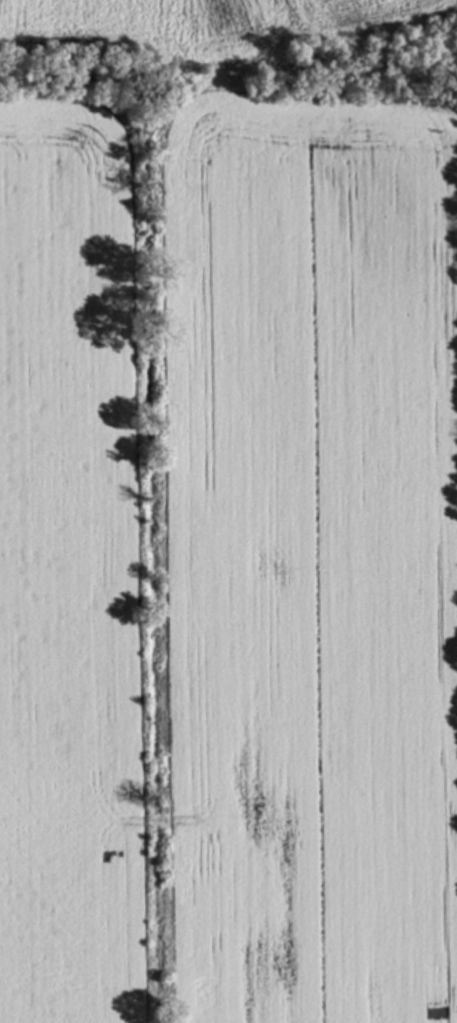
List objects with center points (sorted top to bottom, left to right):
crop: (317, 555)

